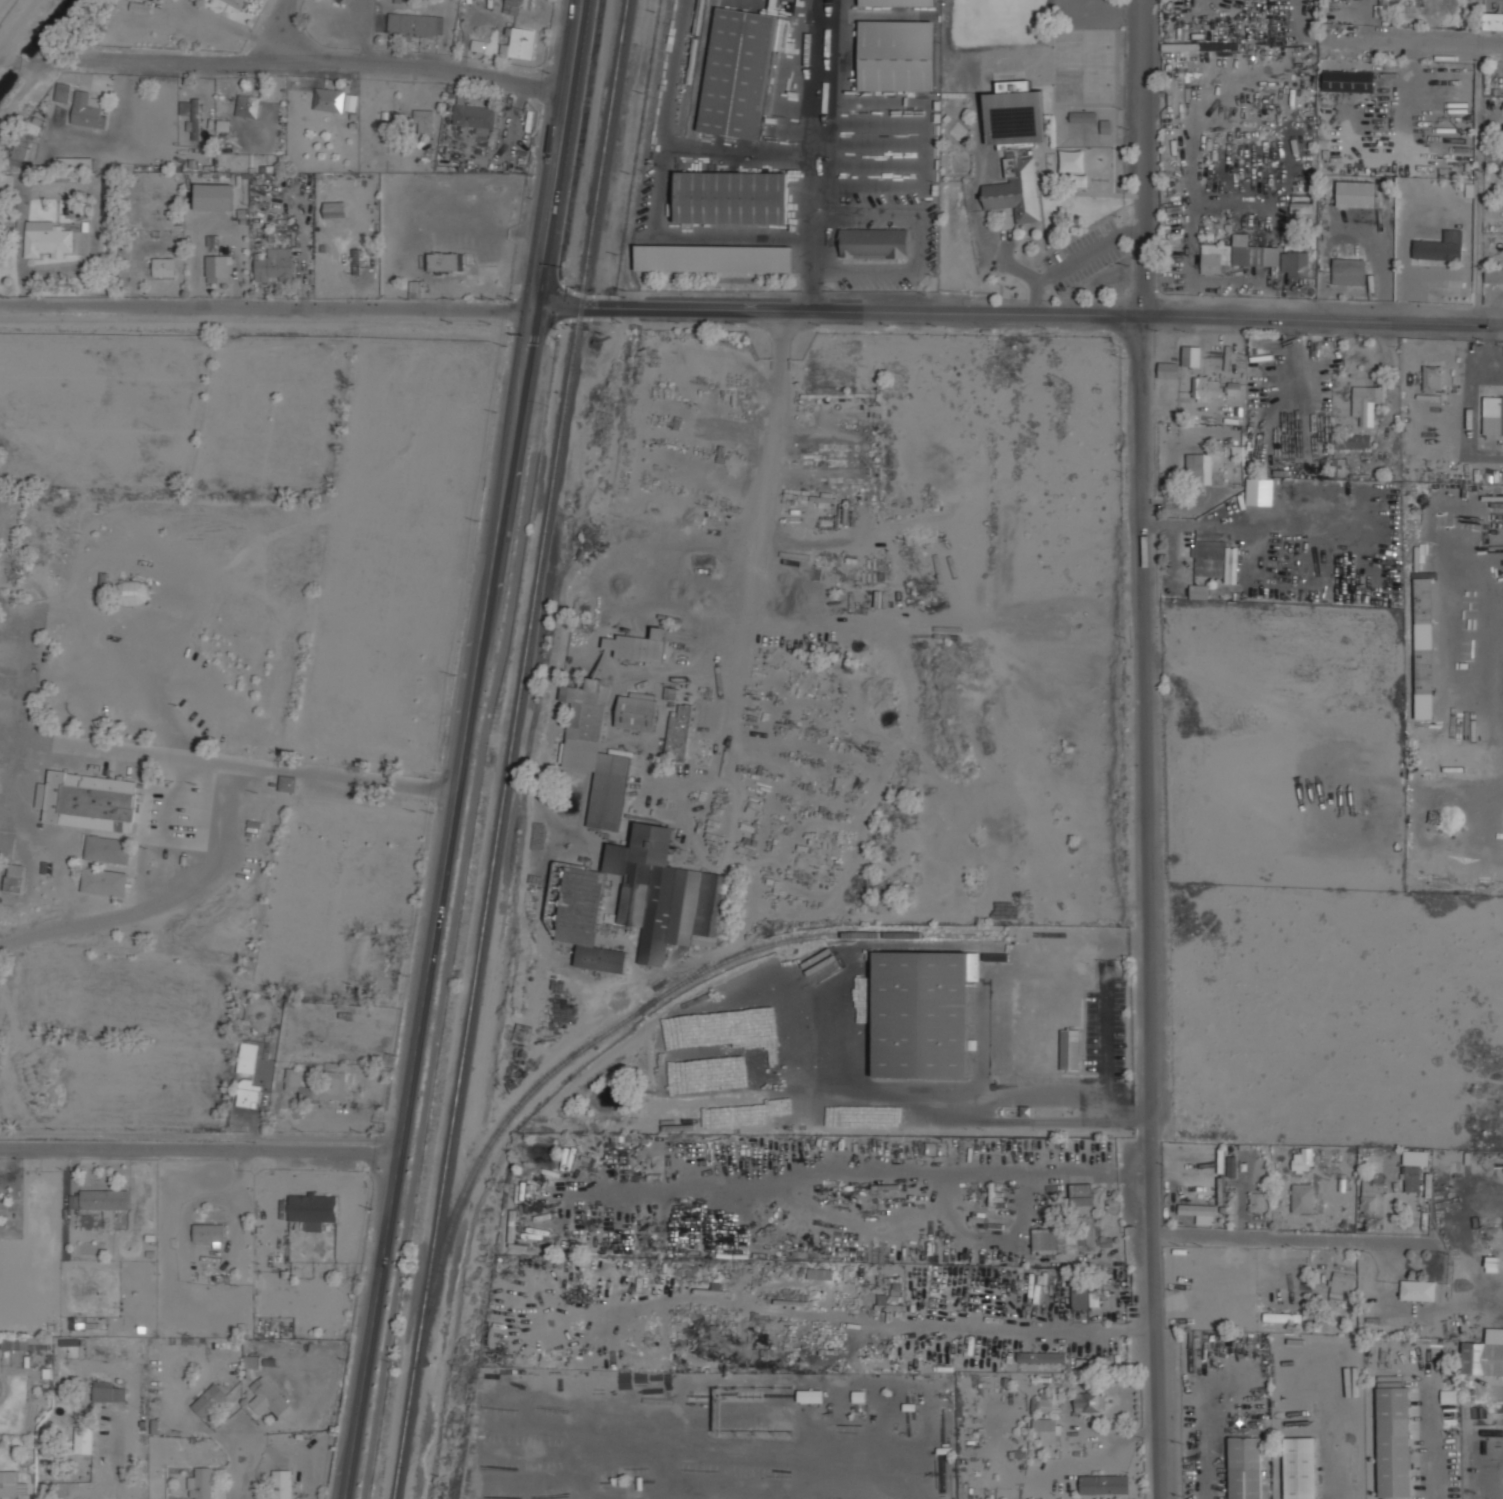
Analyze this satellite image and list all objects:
building: (198, 0)
building: (338, 0)
building: (343, 0)
building: (237, 2)
building: (897, 2)
building: (516, 5)
building: (142, 6)
wastewater plant: (5, 7)
building: (1493, 21)
building: (416, 23)
road: (270, 27)
building: (521, 43)
road: (1422, 43)
building: (897, 55)
road: (334, 66)
railway: (692, 66)
building: (738, 72)
building: (1349, 81)
building: (64, 89)
building: (330, 99)
building: (351, 102)
building: (248, 107)
building: (88, 110)
building: (1016, 115)
building: (194, 116)
building: (475, 117)
building: (424, 121)
building: (224, 124)
building: (35, 125)
building: (21, 148)
road: (554, 154)
building: (75, 162)
building: (1017, 190)
road: (973, 191)
building: (732, 194)
building: (1356, 194)
building: (110, 196)
building: (336, 209)
building: (1301, 214)
road: (1132, 229)
building: (47, 239)
building: (874, 243)
building: (1440, 247)
road: (1085, 253)
parking lot: (1084, 254)
building: (1237, 255)
building: (713, 258)
building: (446, 260)
building: (276, 264)
building: (1296, 264)
building: (220, 265)
building: (165, 266)
building: (1348, 271)
building: (1494, 275)
building: (416, 289)
road: (1036, 289)
road: (556, 309)
road: (266, 312)
road: (1042, 312)
building: (1168, 370)
building: (1432, 377)
building: (1205, 388)
building: (1234, 388)
building: (1366, 403)
building: (1493, 408)
building: (1351, 441)
building: (1199, 468)
building: (1215, 562)
building: (46, 580)
building: (104, 588)
building: (1199, 591)
building: (132, 592)
building: (639, 646)
building: (1424, 648)
building: (637, 711)
building: (678, 733)
road: (480, 747)
railway: (513, 749)
road: (1150, 749)
building: (595, 752)
road: (227, 762)
building: (287, 783)
building: (92, 801)
building: (107, 848)
building: (16, 877)
building: (104, 881)
building: (668, 894)
road: (436, 904)
building: (586, 920)
building: (922, 1013)
railway: (619, 1024)
building: (1070, 1049)
building: (251, 1054)
building: (336, 1079)
building: (250, 1092)
road: (198, 1157)
building: (1303, 1160)
building: (1232, 1166)
building: (1414, 1168)
building: (1371, 1191)
building: (1302, 1197)
building: (1082, 1198)
building: (105, 1199)
building: (1257, 1201)
building: (314, 1208)
building: (1199, 1212)
building: (209, 1233)
building: (1056, 1240)
road: (1302, 1249)
building: (1342, 1286)
building: (1418, 1290)
building: (1084, 1297)
building: (1281, 1317)
building: (24, 1343)
building: (1484, 1355)
building: (1042, 1356)
building: (1083, 1364)
building: (251, 1365)
building: (107, 1392)
building: (271, 1395)
building: (810, 1396)
building: (1448, 1396)
building: (210, 1399)
building: (1087, 1401)
building: (1050, 1404)
building: (1044, 1429)
building: (85, 1440)
building: (1393, 1442)
road: (240, 1463)
building: (1245, 1468)
building: (1299, 1468)
building: (11, 1484)
building: (202, 1484)
building: (283, 1484)
building: (1103, 1484)

